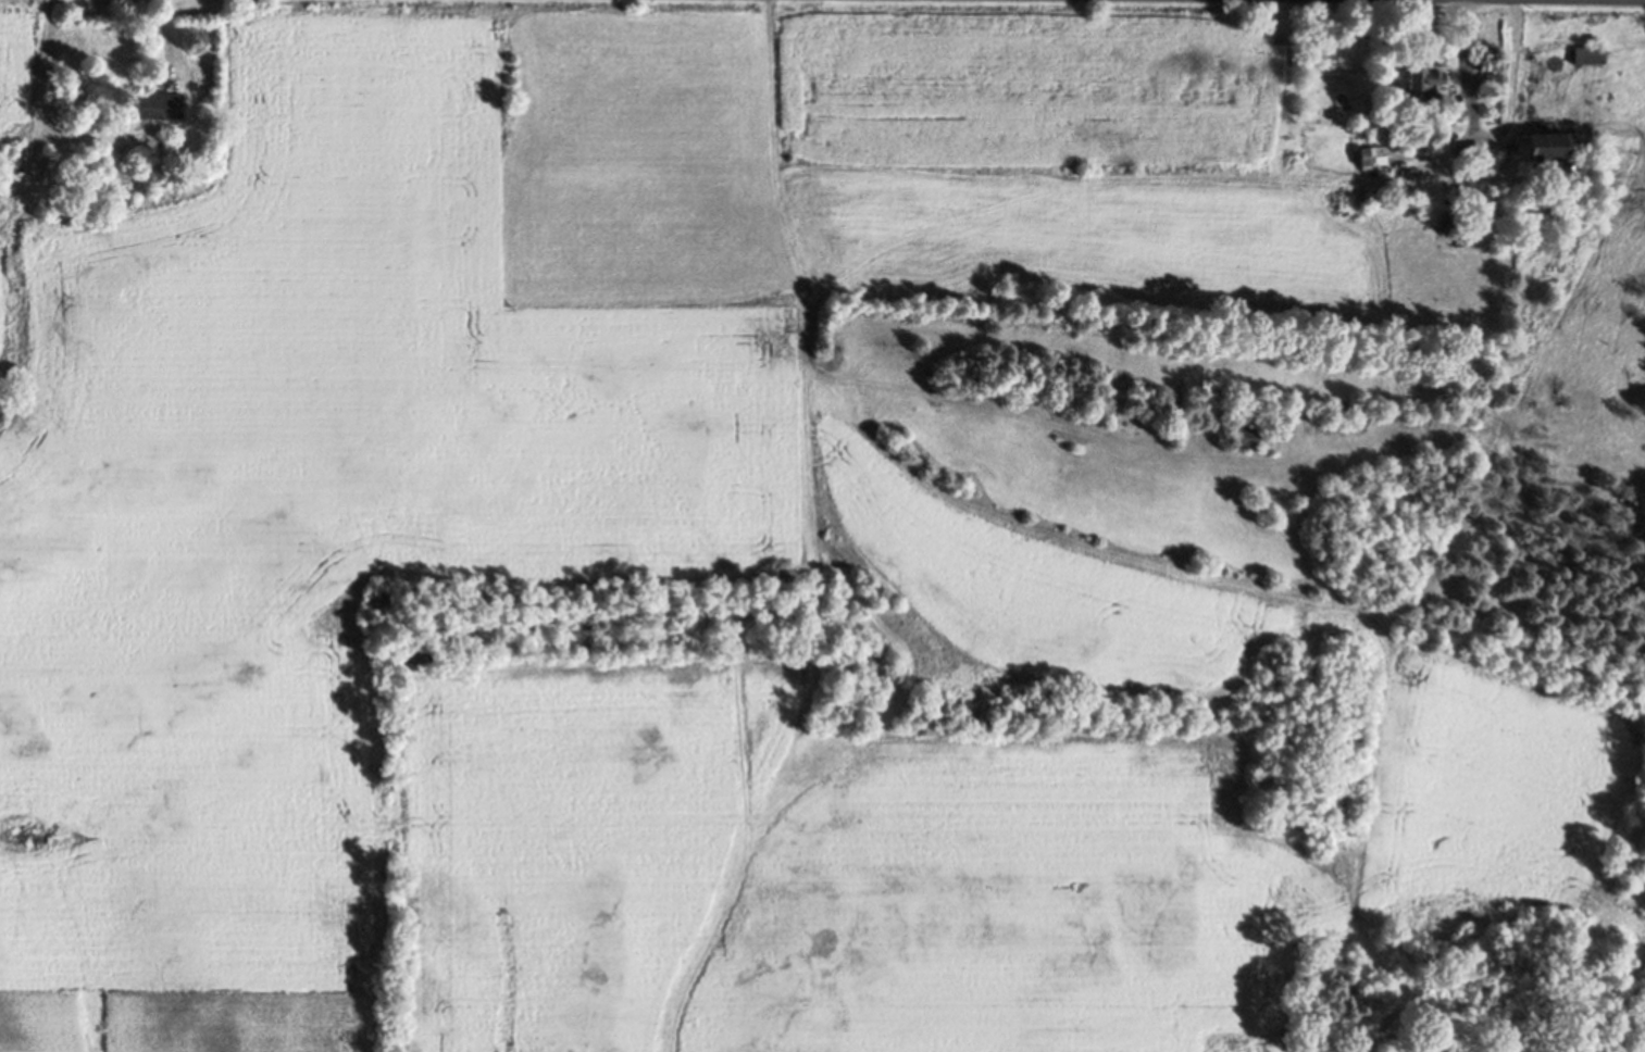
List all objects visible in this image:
building: (1591, 59)
building: (1490, 64)
building: (1428, 86)
building: (159, 111)
building: (1546, 151)
building: (1374, 162)
building: (1243, 441)

